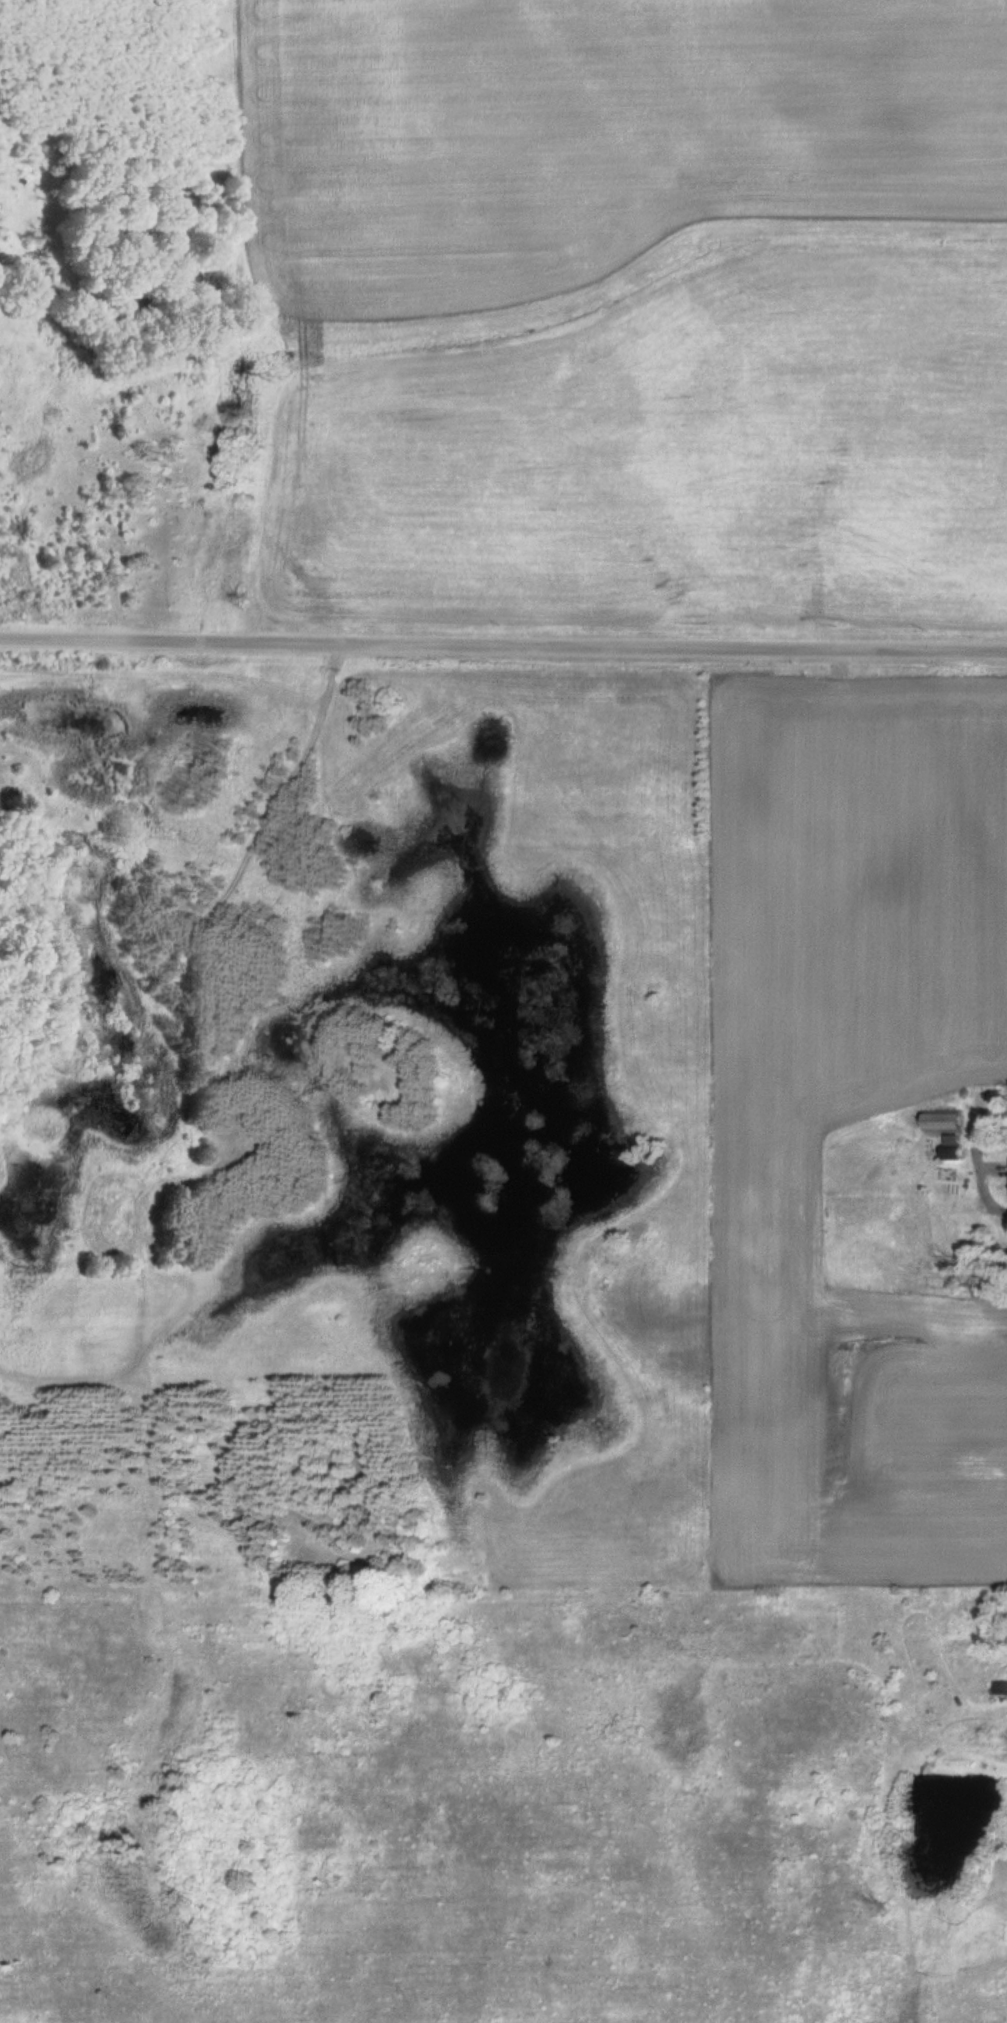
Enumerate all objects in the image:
road: (503, 641)
building: (939, 1121)

